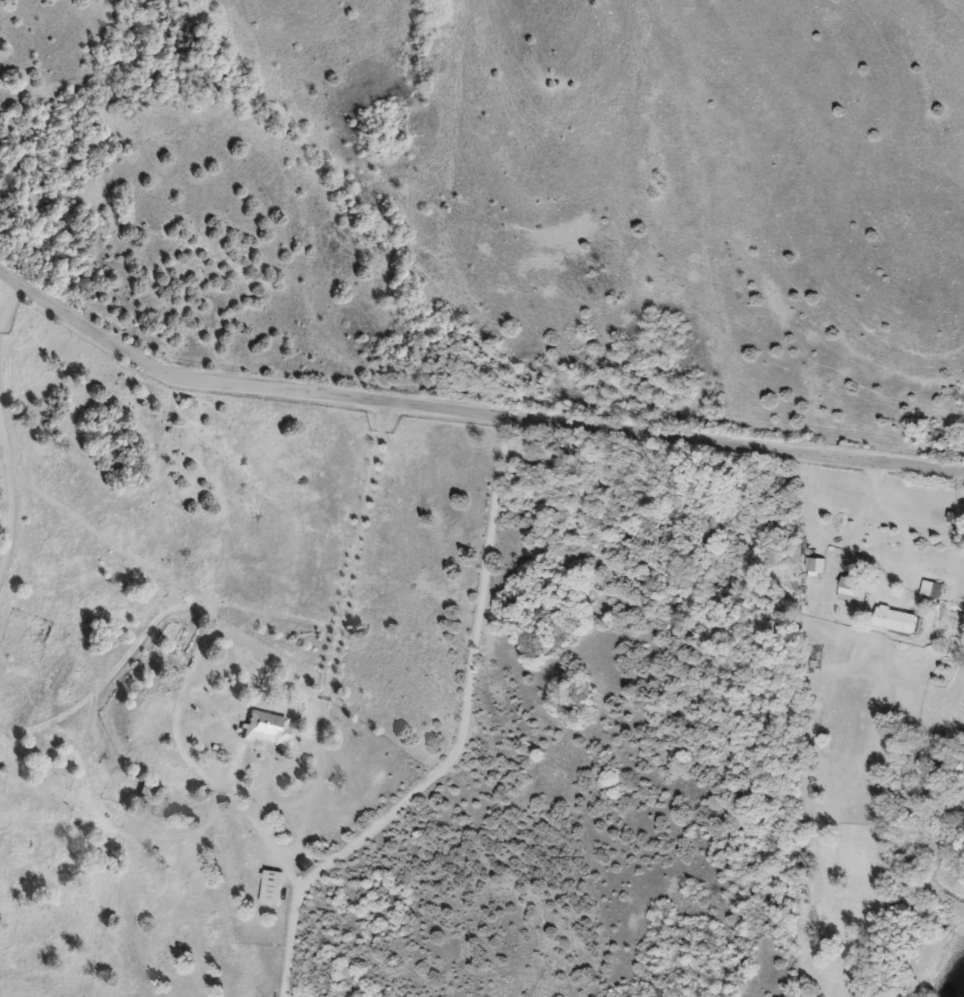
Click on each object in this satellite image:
road: (2, 290)
road: (469, 412)
road: (13, 494)
building: (816, 565)
building: (851, 590)
building: (931, 590)
building: (894, 620)
road: (155, 626)
road: (196, 669)
road: (329, 692)
building: (264, 729)
building: (218, 745)
road: (463, 746)
road: (308, 833)
road: (279, 853)
building: (271, 895)

